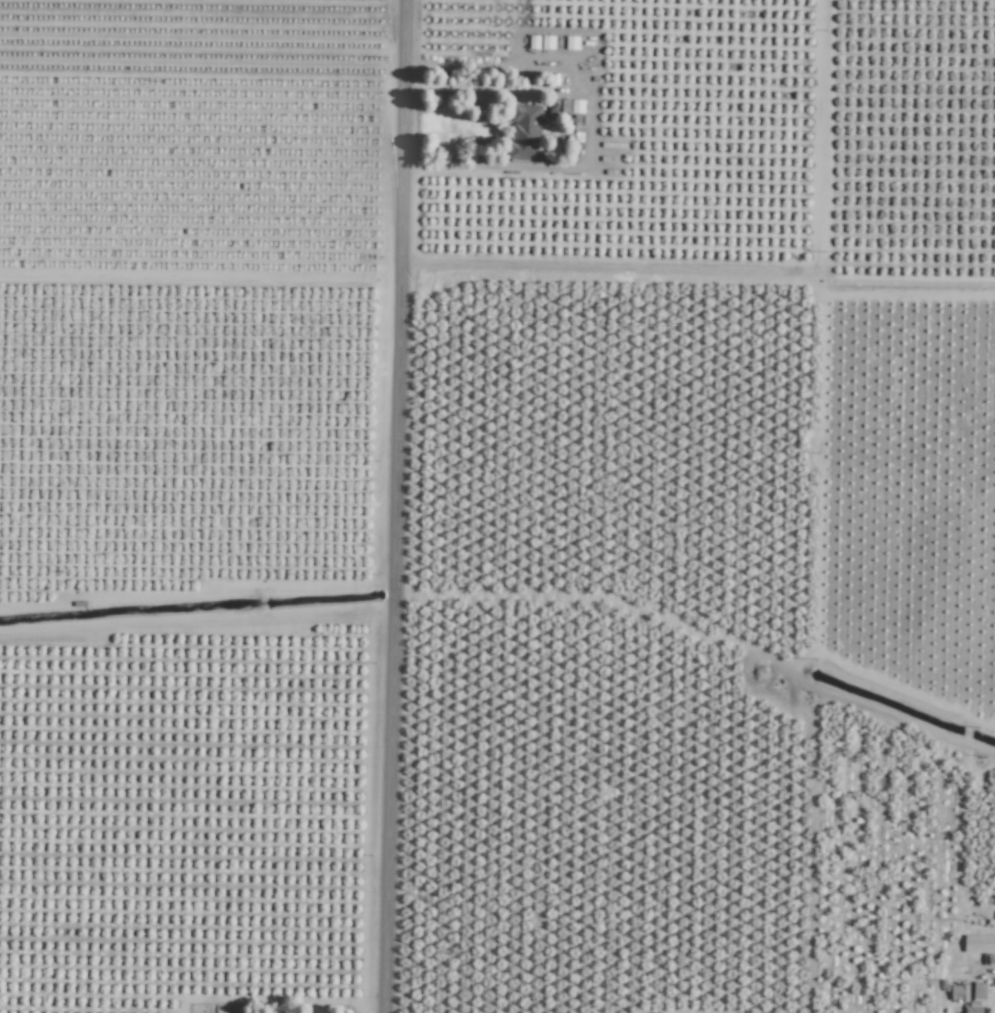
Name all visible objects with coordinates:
building: (534, 42)
building: (547, 42)
building: (572, 42)
road: (489, 88)
road: (588, 125)
building: (525, 131)
road: (740, 270)
road: (393, 506)
building: (979, 943)
building: (979, 991)
building: (959, 993)
building: (972, 1009)

